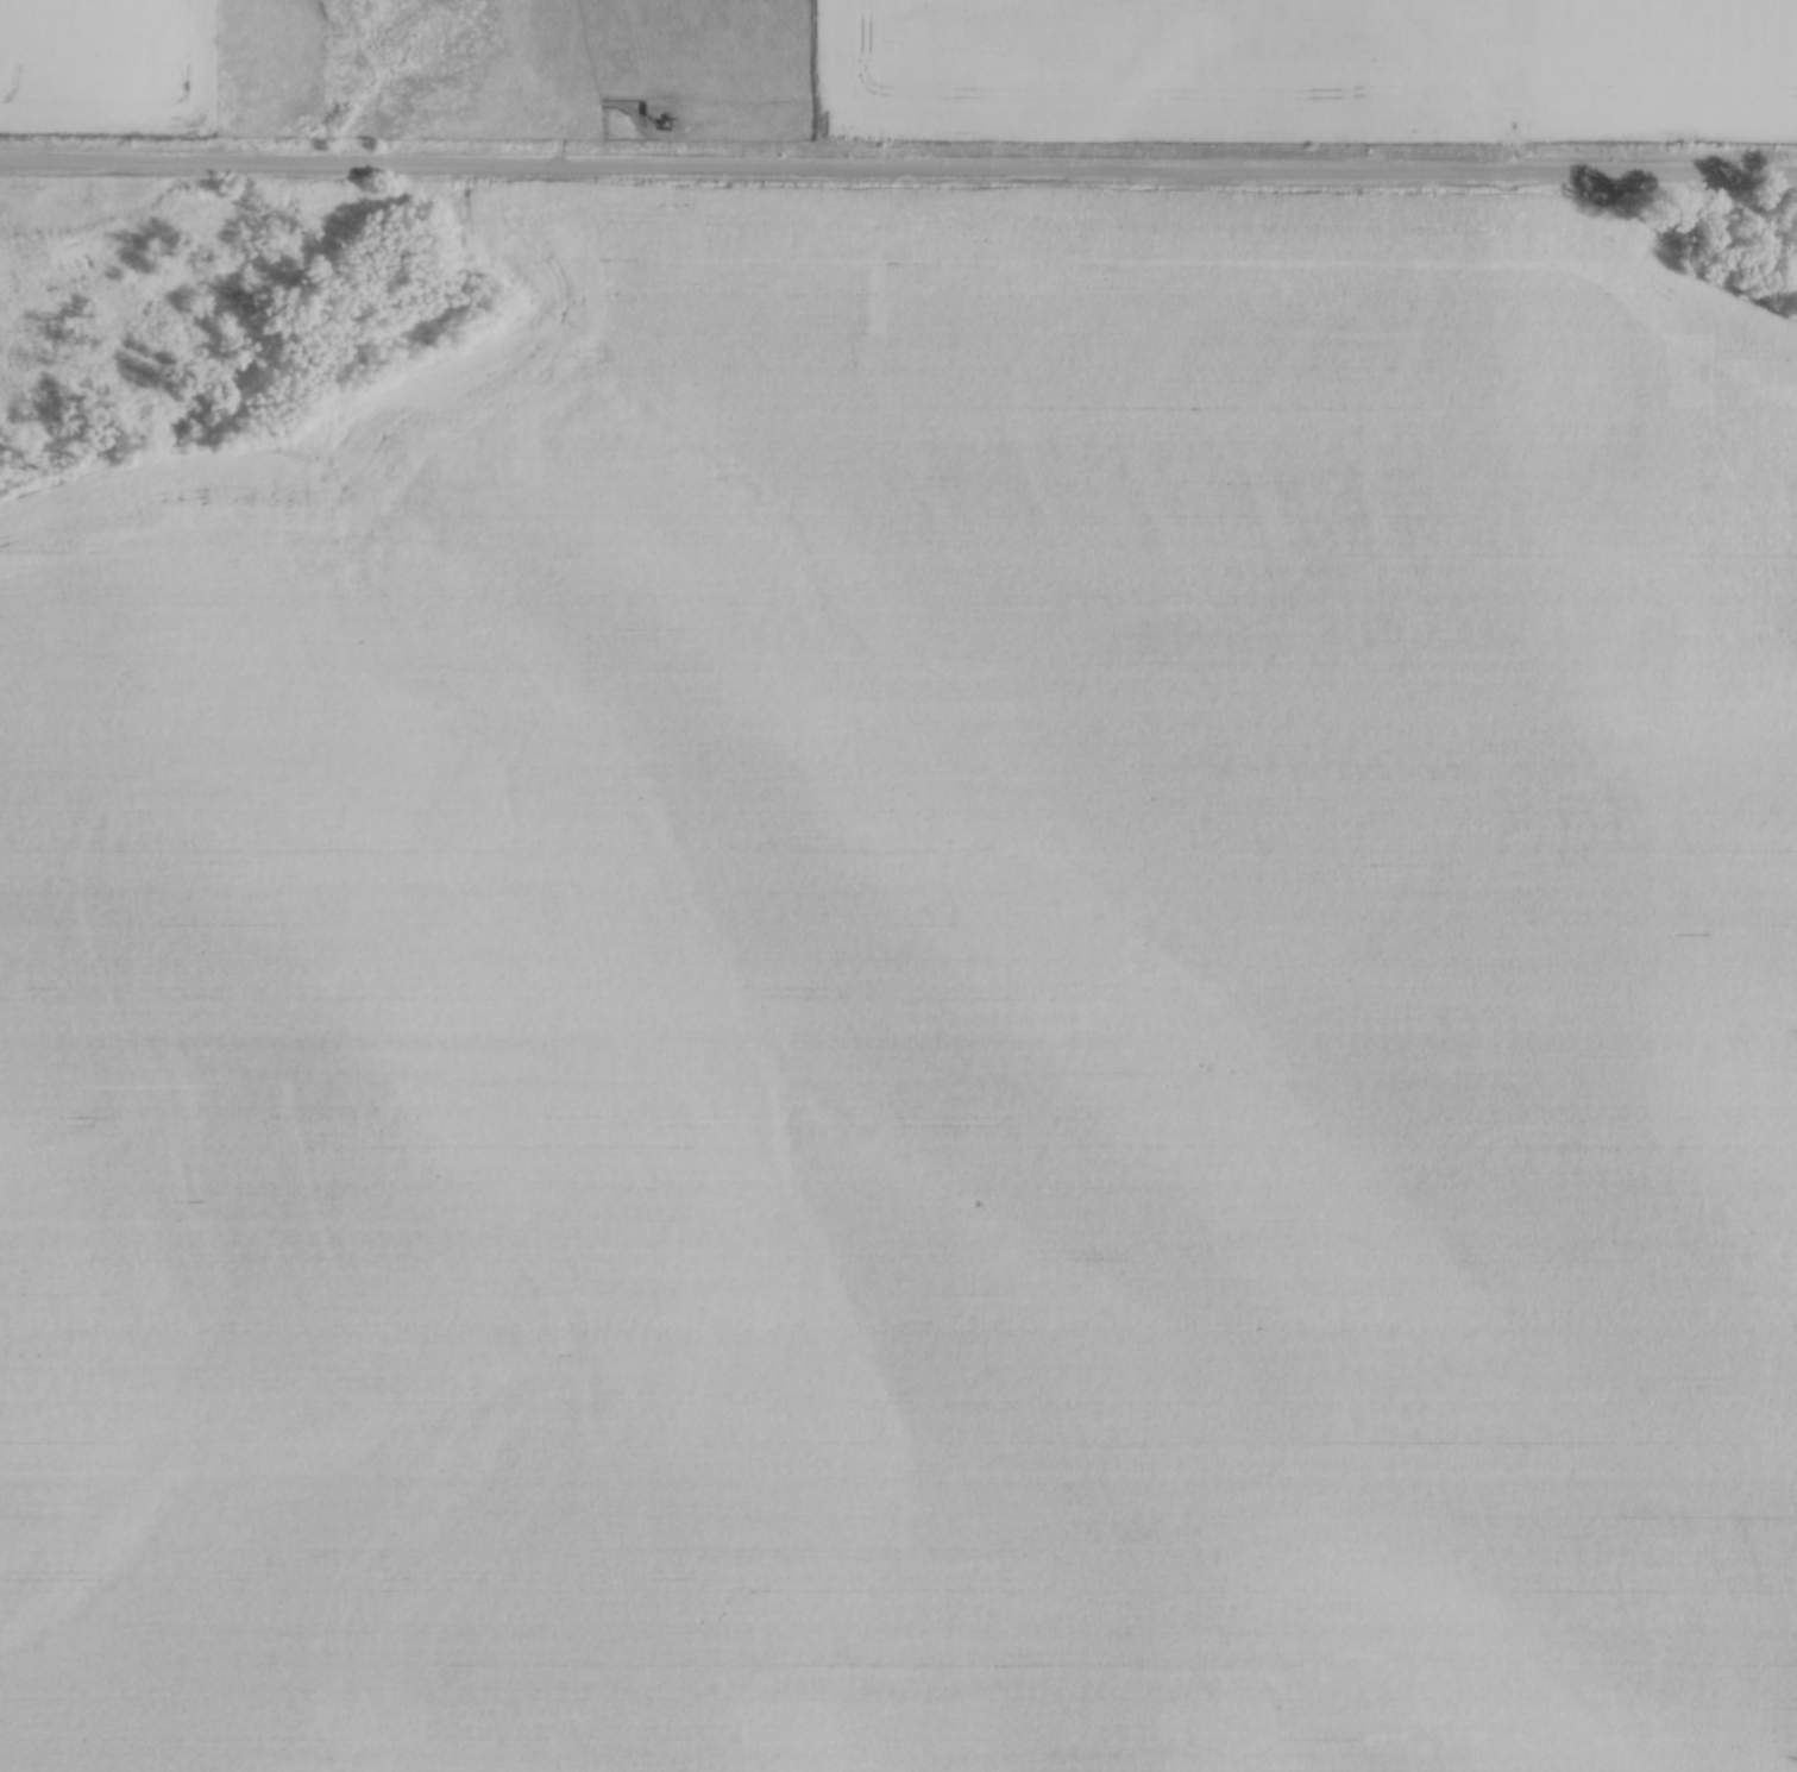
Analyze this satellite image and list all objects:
road: (898, 174)

